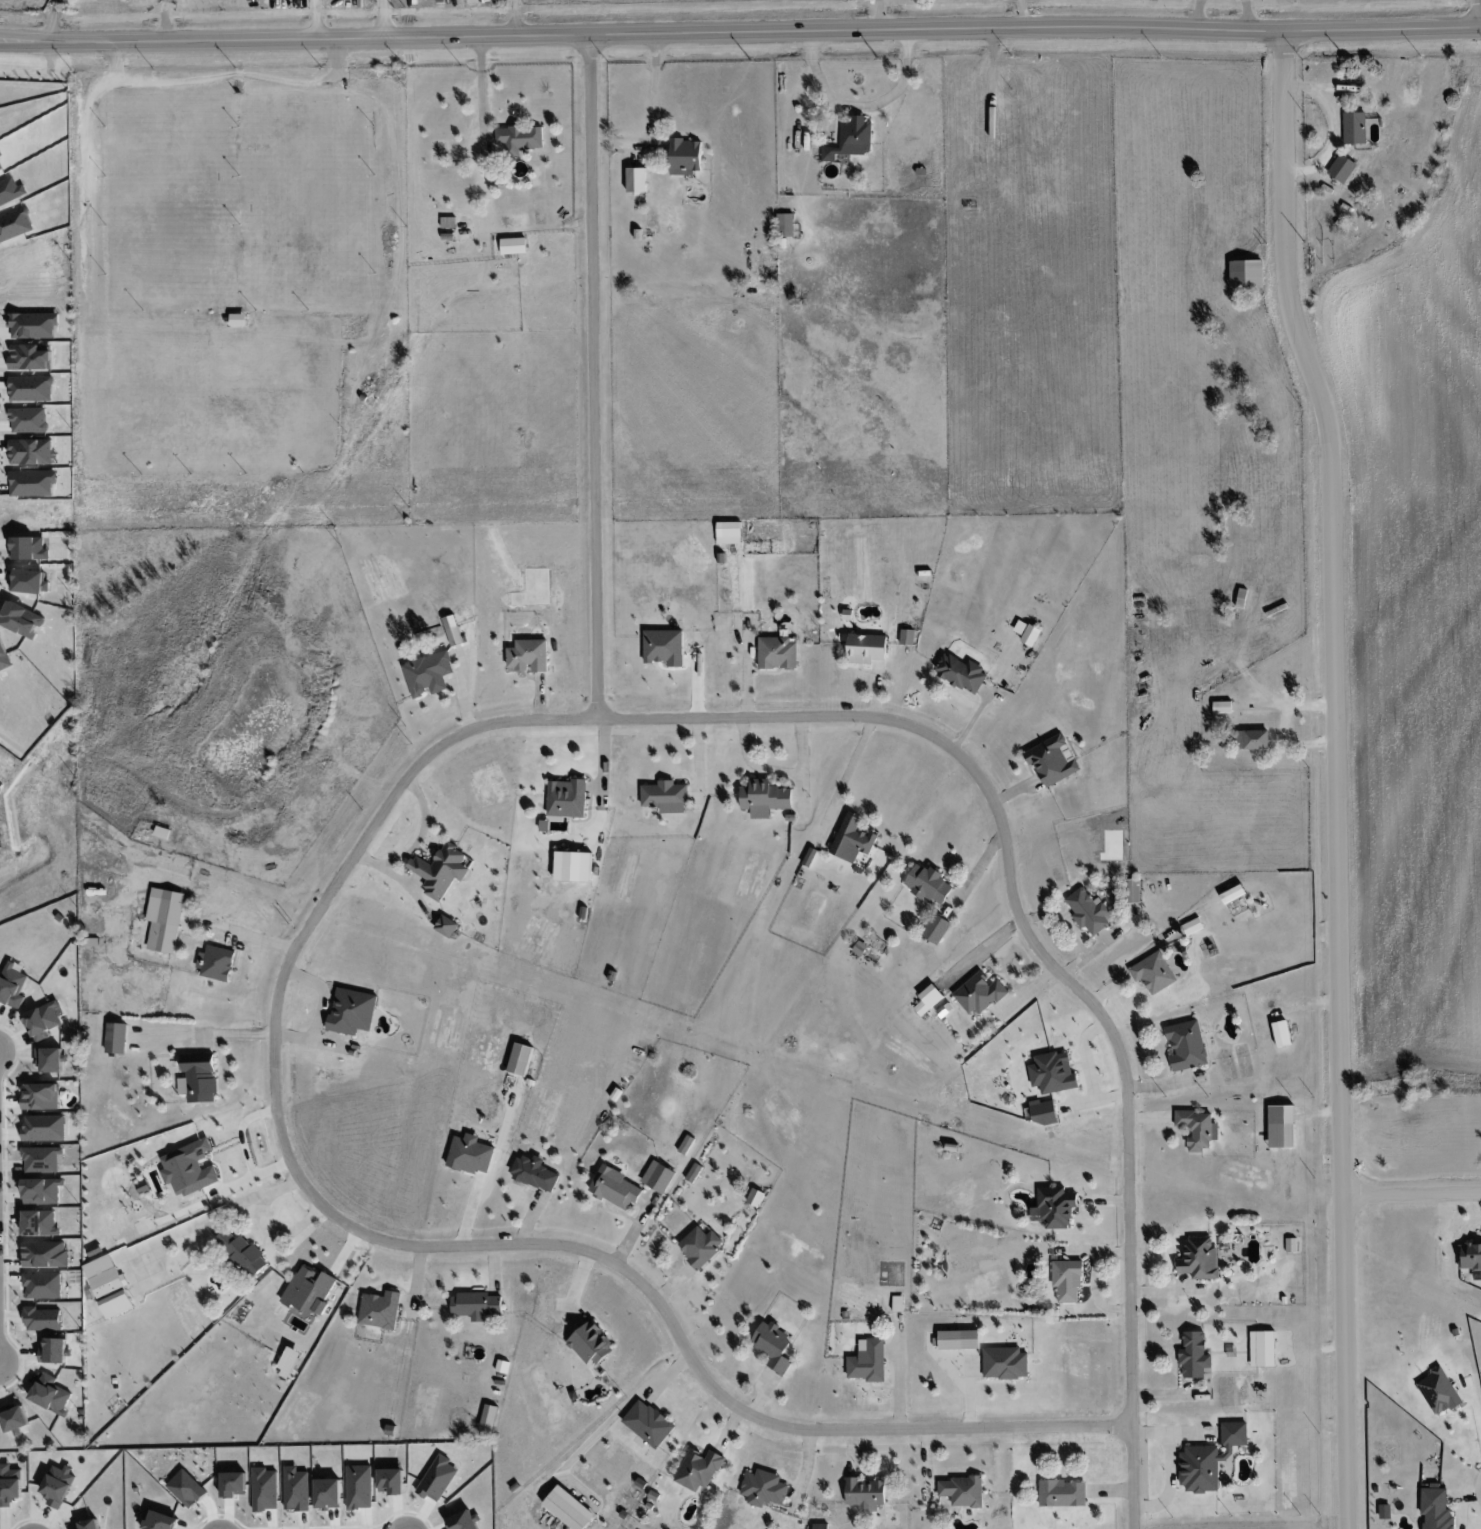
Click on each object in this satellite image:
road: (1021, 14)
road: (1478, 14)
road: (53, 20)
road: (765, 32)
road: (25, 40)
road: (481, 83)
road: (860, 105)
road: (653, 116)
building: (1354, 127)
building: (520, 138)
building: (851, 139)
building: (685, 156)
building: (1341, 168)
building: (635, 179)
building: (785, 225)
building: (514, 245)
building: (1246, 272)
road: (594, 377)
building: (728, 532)
building: (1027, 632)
building: (454, 635)
building: (907, 637)
building: (663, 647)
building: (866, 648)
building: (777, 653)
building: (528, 655)
building: (428, 673)
building: (961, 673)
building: (1222, 706)
building: (1250, 739)
road: (849, 759)
building: (1051, 760)
road: (757, 764)
road: (806, 765)
road: (1336, 776)
building: (665, 796)
building: (566, 798)
building: (764, 798)
building: (852, 840)
building: (809, 856)
building: (573, 866)
building: (440, 870)
building: (928, 884)
building: (1131, 891)
building: (1232, 893)
building: (1088, 910)
building: (164, 919)
building: (446, 926)
building: (1192, 926)
building: (936, 928)
road: (1046, 960)
building: (216, 962)
building: (1153, 972)
building: (12, 986)
building: (978, 994)
building: (928, 999)
road: (320, 1010)
building: (351, 1011)
building: (42, 1020)
building: (1281, 1033)
building: (116, 1038)
building: (1186, 1045)
building: (49, 1059)
building: (520, 1059)
building: (198, 1078)
building: (40, 1096)
building: (1198, 1128)
building: (1281, 1135)
building: (686, 1144)
road: (243, 1149)
building: (470, 1154)
building: (42, 1159)
building: (189, 1168)
building: (693, 1172)
building: (534, 1173)
building: (658, 1176)
building: (615, 1188)
building: (41, 1191)
road: (1412, 1192)
building: (755, 1197)
building: (1056, 1207)
building: (39, 1222)
road: (418, 1246)
building: (700, 1246)
building: (242, 1253)
building: (1470, 1255)
building: (1199, 1258)
building: (1067, 1280)
building: (108, 1286)
building: (309, 1290)
building: (475, 1305)
building: (380, 1309)
building: (958, 1339)
building: (591, 1343)
building: (773, 1346)
building: (1262, 1348)
building: (55, 1350)
building: (1194, 1355)
building: (868, 1361)
building: (288, 1362)
building: (1004, 1362)
building: (1438, 1391)
road: (1475, 1414)
building: (648, 1423)
building: (1233, 1436)
building: (1199, 1468)
building: (698, 1469)
building: (9, 1485)
building: (57, 1485)
building: (763, 1488)
building: (962, 1491)
building: (865, 1493)
building: (1062, 1493)
road: (1461, 1504)
building: (1435, 1508)
building: (1384, 1511)
building: (160, 1521)
building: (89, 1524)
building: (820, 1526)

